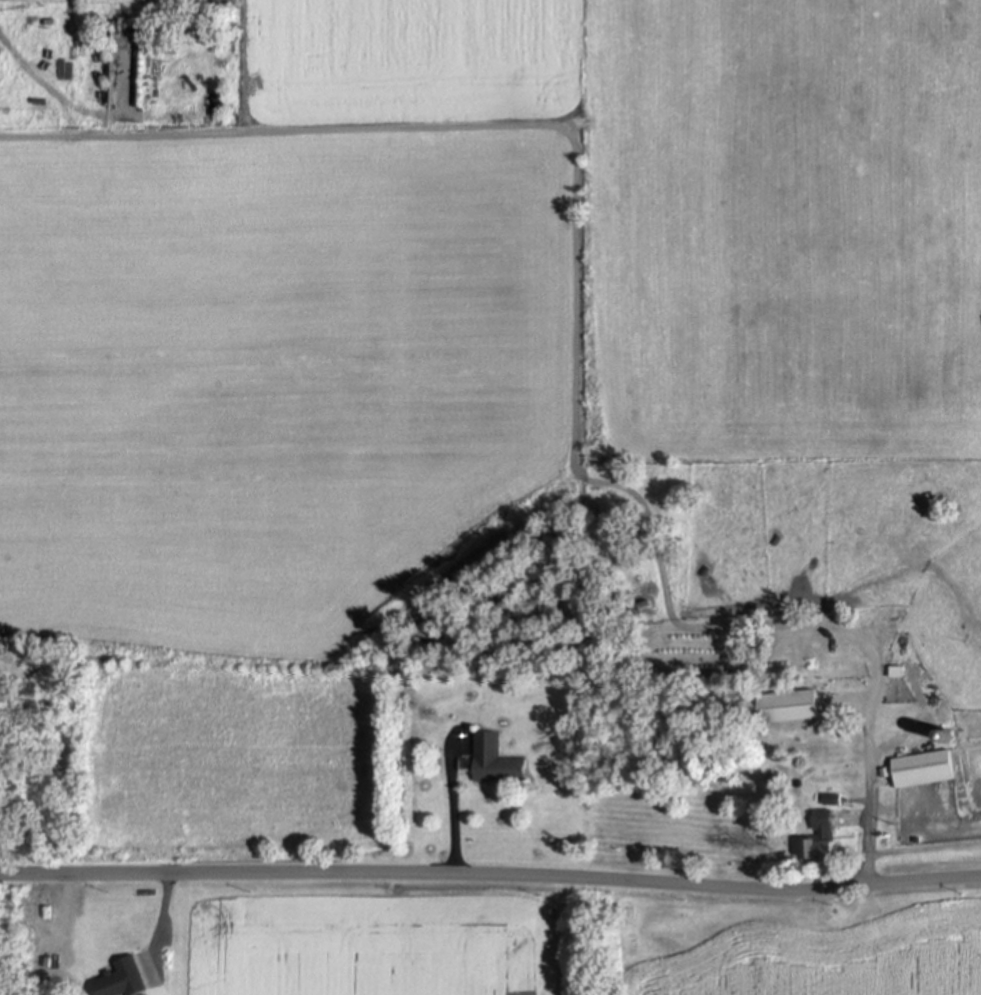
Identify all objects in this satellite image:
road: (67, 106)
building: (789, 706)
road: (867, 721)
building: (496, 760)
building: (926, 770)
building: (834, 799)
road: (451, 800)
building: (821, 838)
road: (491, 873)
road: (161, 920)
building: (125, 979)

